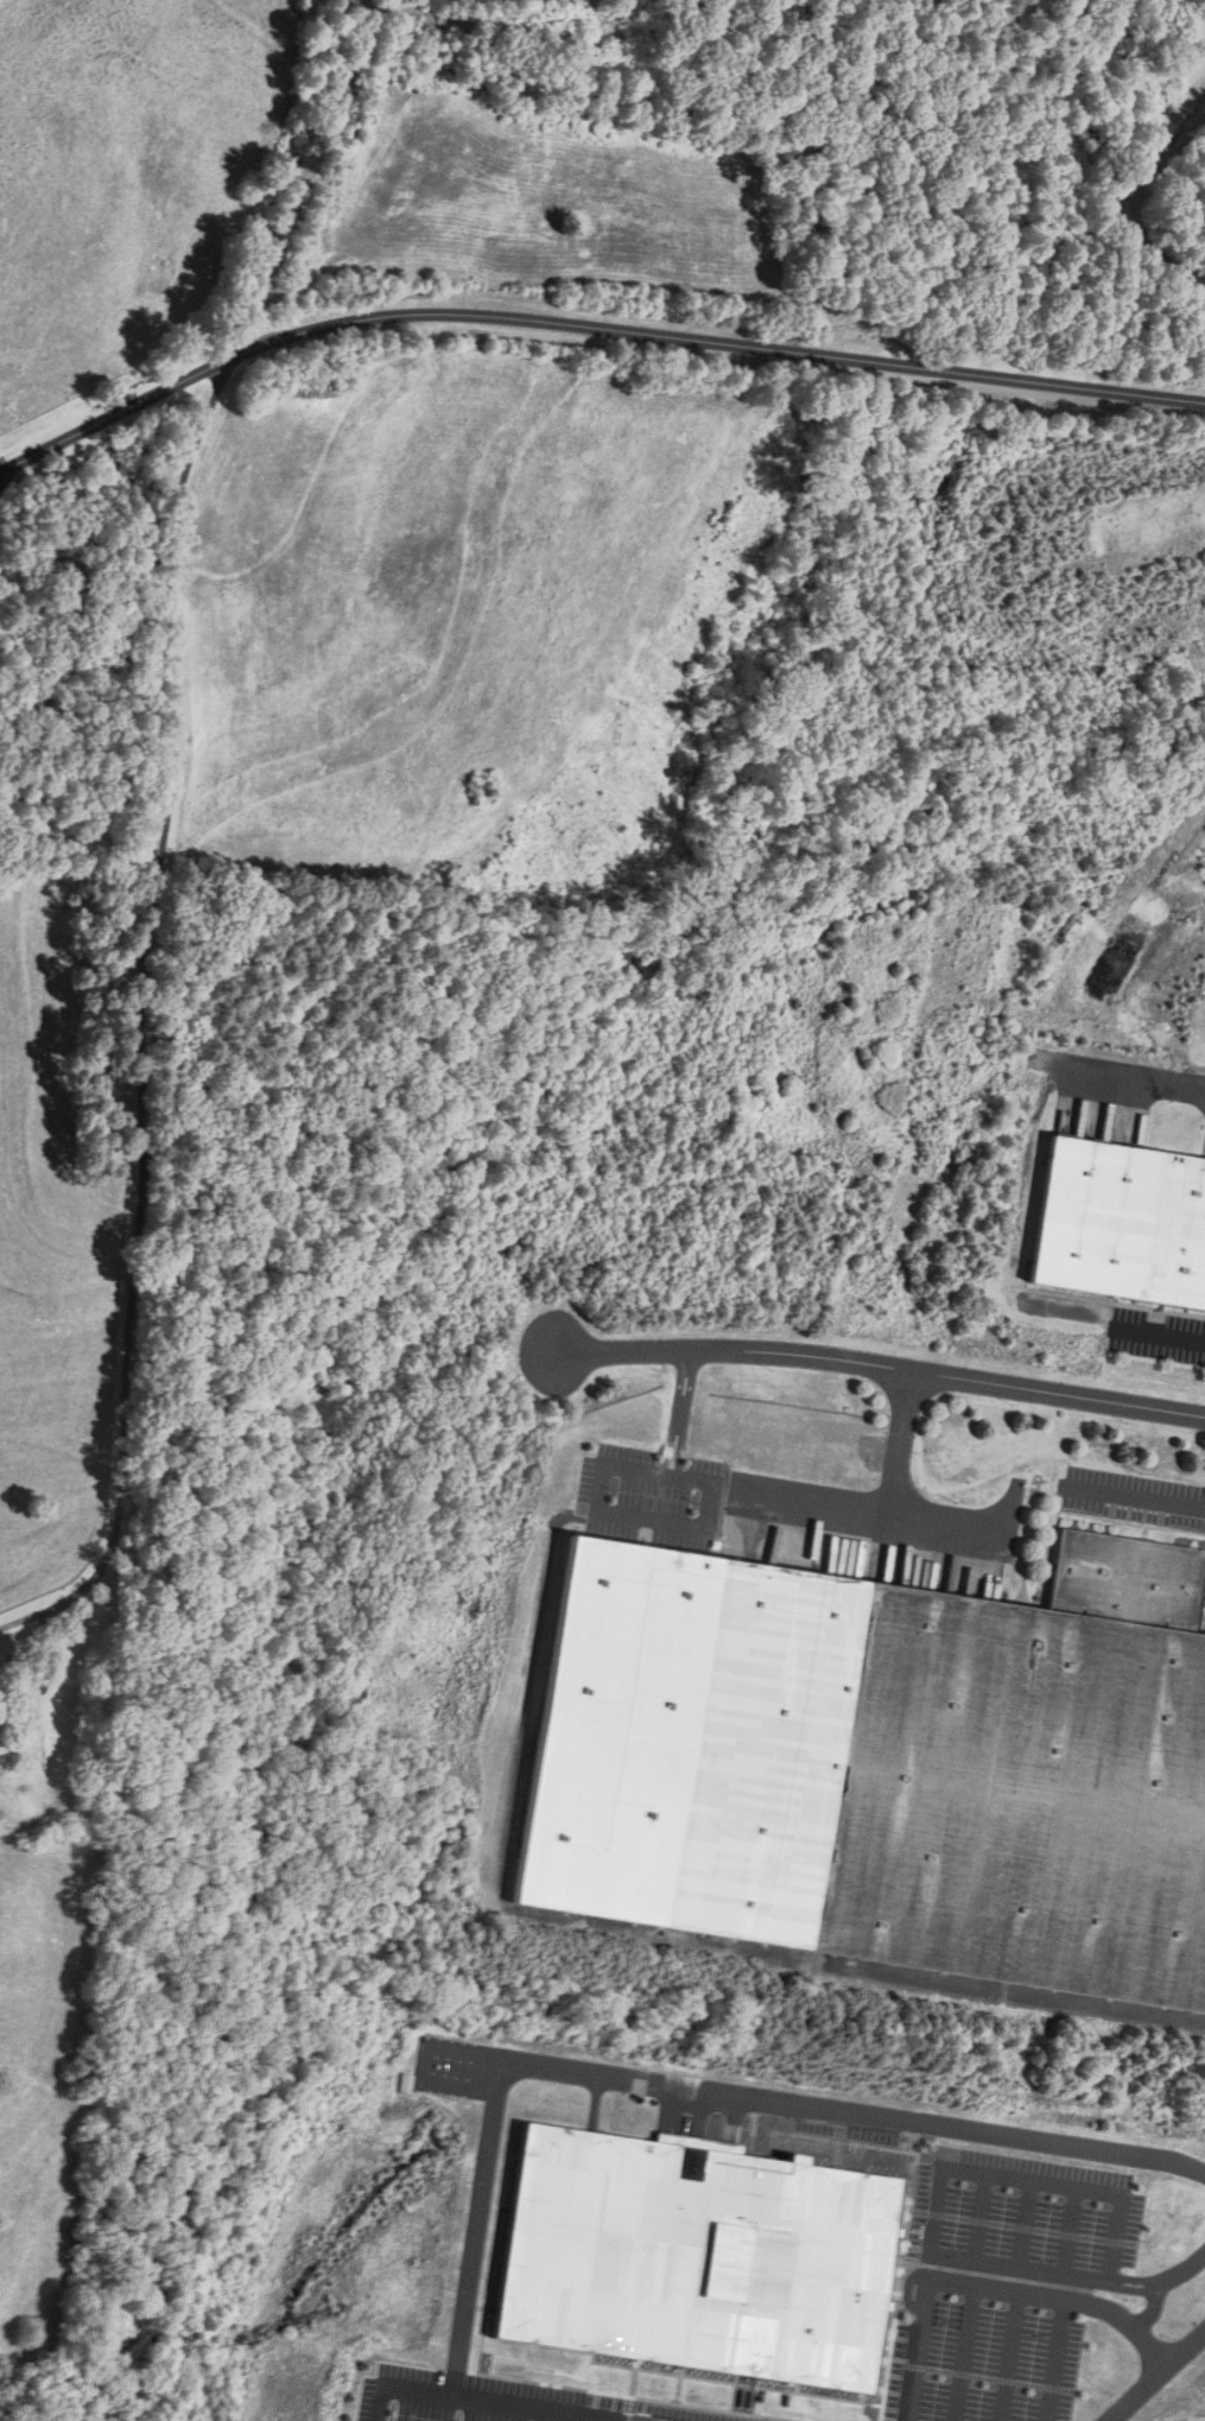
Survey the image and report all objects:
road: (586, 328)
road: (139, 1029)
road: (1131, 1083)
building: (1121, 1225)
road: (1162, 1333)
road: (882, 1365)
road: (671, 1413)
road: (894, 1439)
road: (1130, 1500)
road: (879, 1509)
road: (630, 1525)
building: (951, 1743)
road: (671, 2083)
building: (704, 2265)
building: (1196, 2299)
road: (1154, 2305)
road: (1156, 2376)

